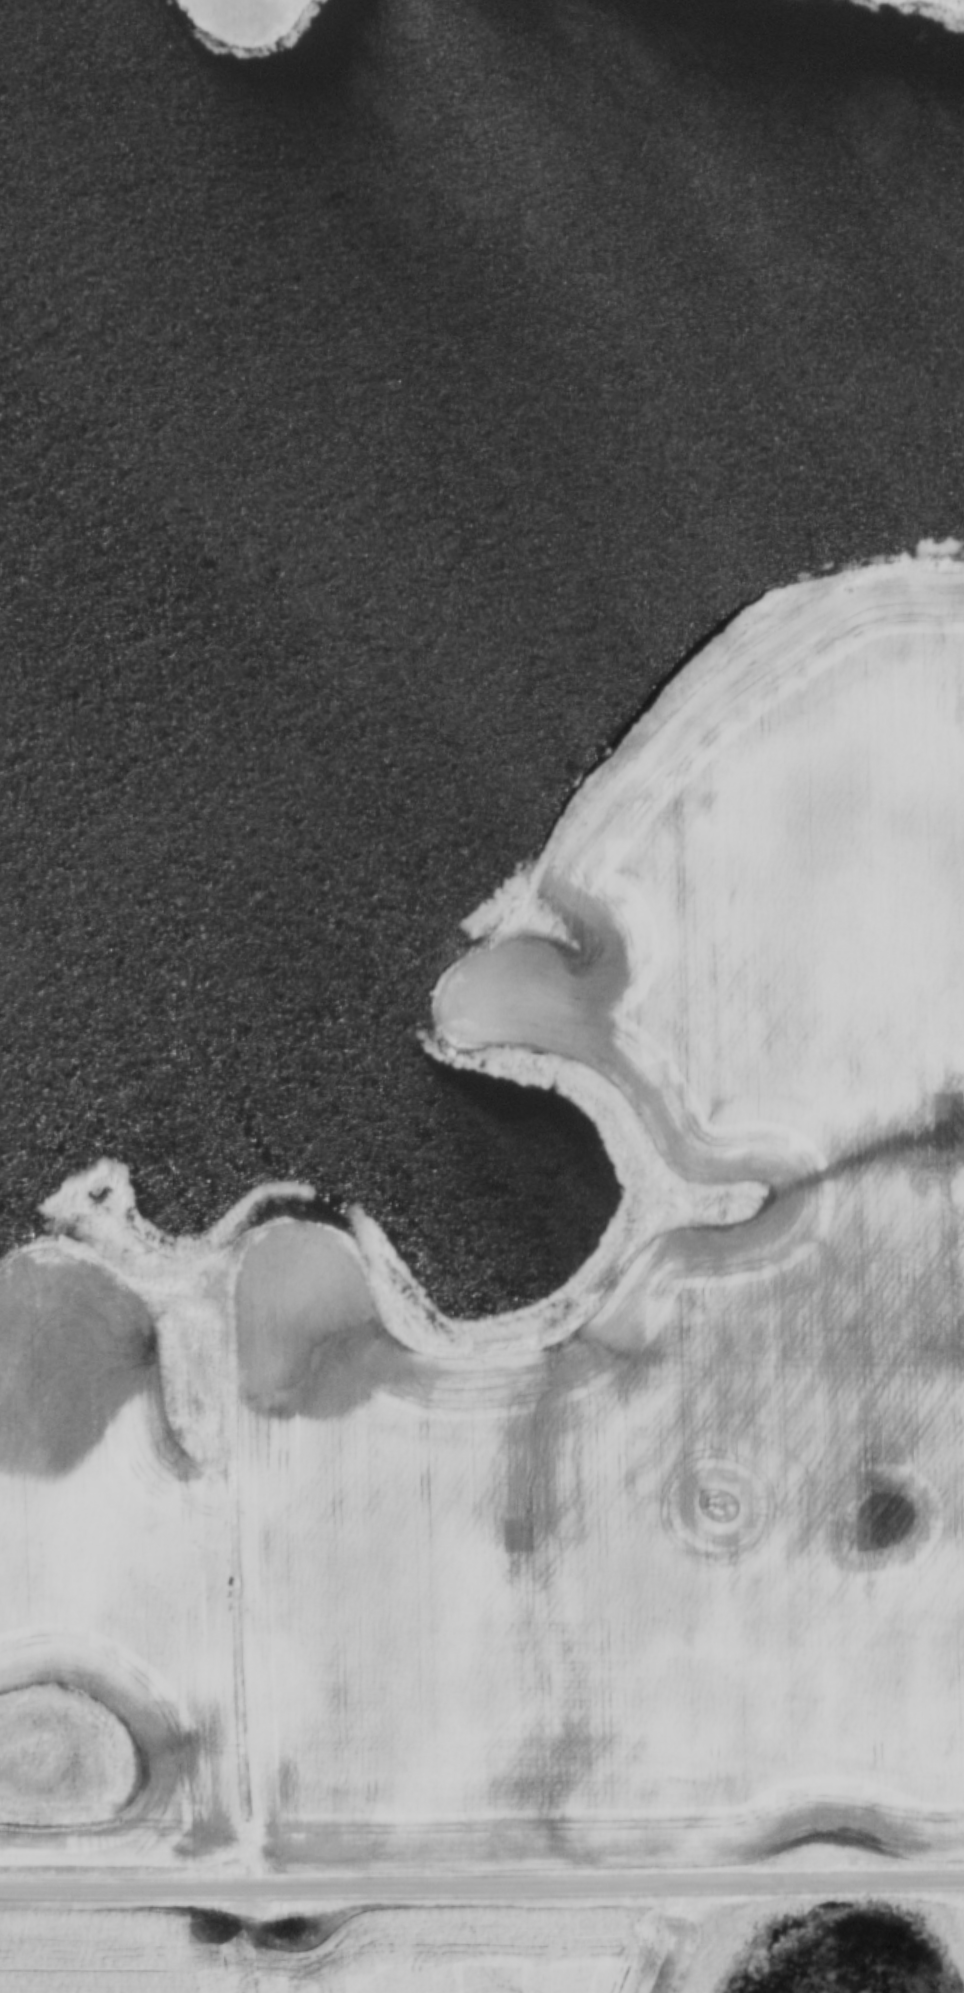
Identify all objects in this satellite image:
road: (482, 1891)

